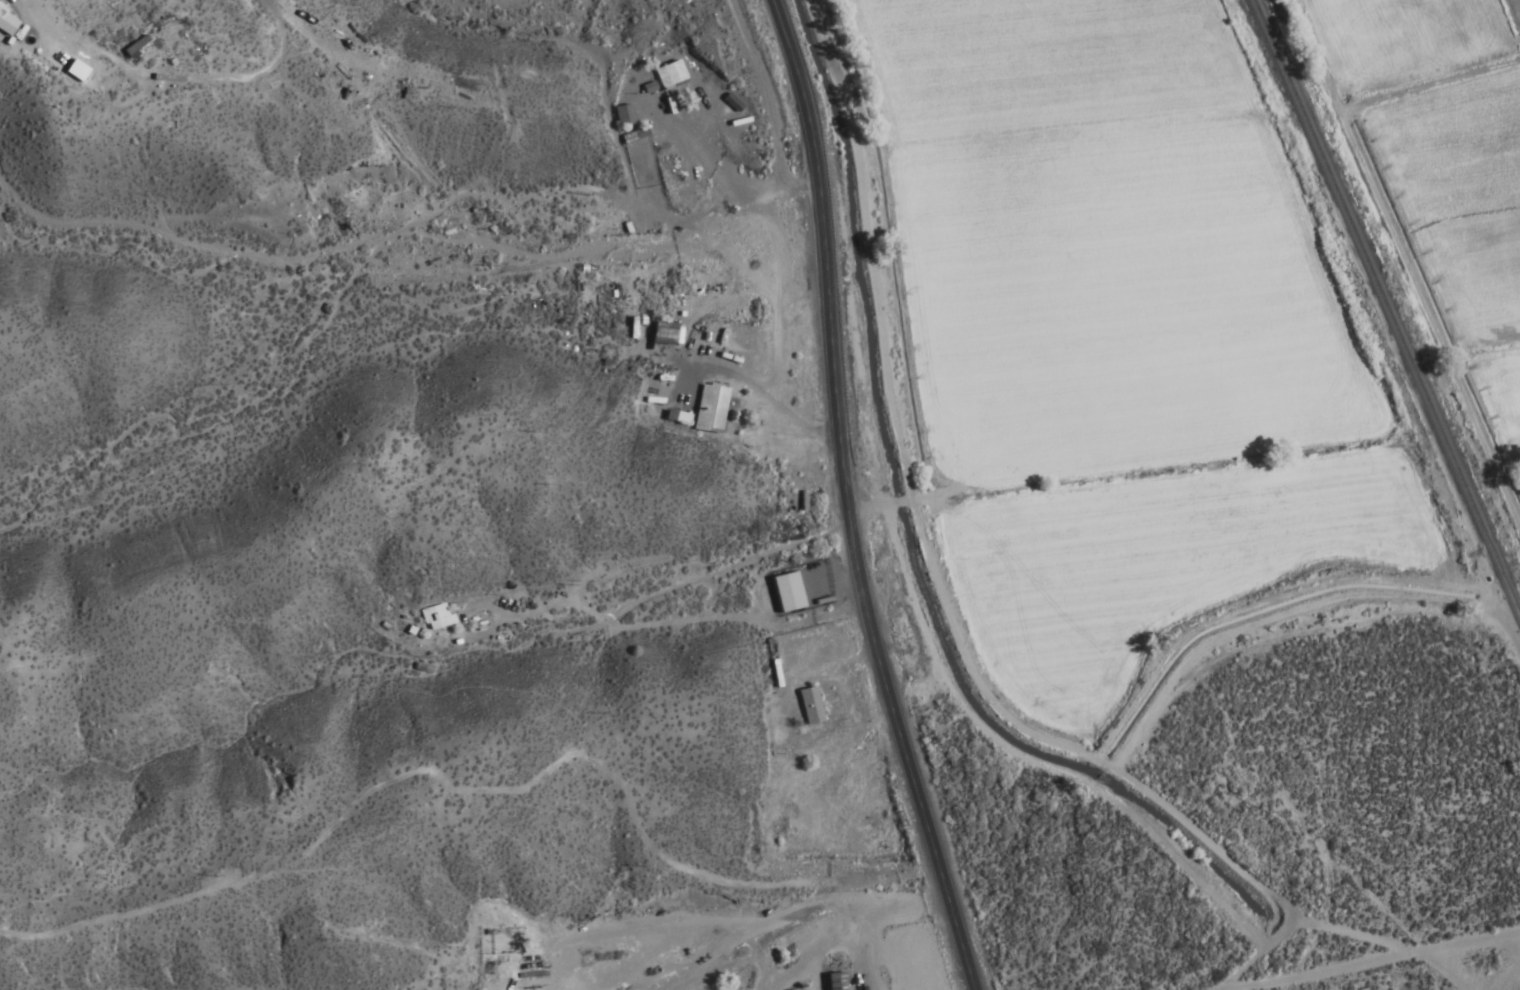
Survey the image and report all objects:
building: (132, 48)
building: (668, 76)
road: (212, 79)
road: (762, 90)
building: (621, 116)
building: (632, 136)
road: (750, 195)
road: (860, 245)
railway: (1384, 312)
building: (660, 334)
building: (708, 409)
building: (676, 417)
road: (835, 500)
road: (871, 507)
building: (784, 592)
building: (435, 617)
building: (807, 705)
road: (1017, 765)
road: (1100, 768)
building: (845, 812)
building: (786, 831)
road: (1248, 954)
road: (1367, 962)
building: (833, 981)

